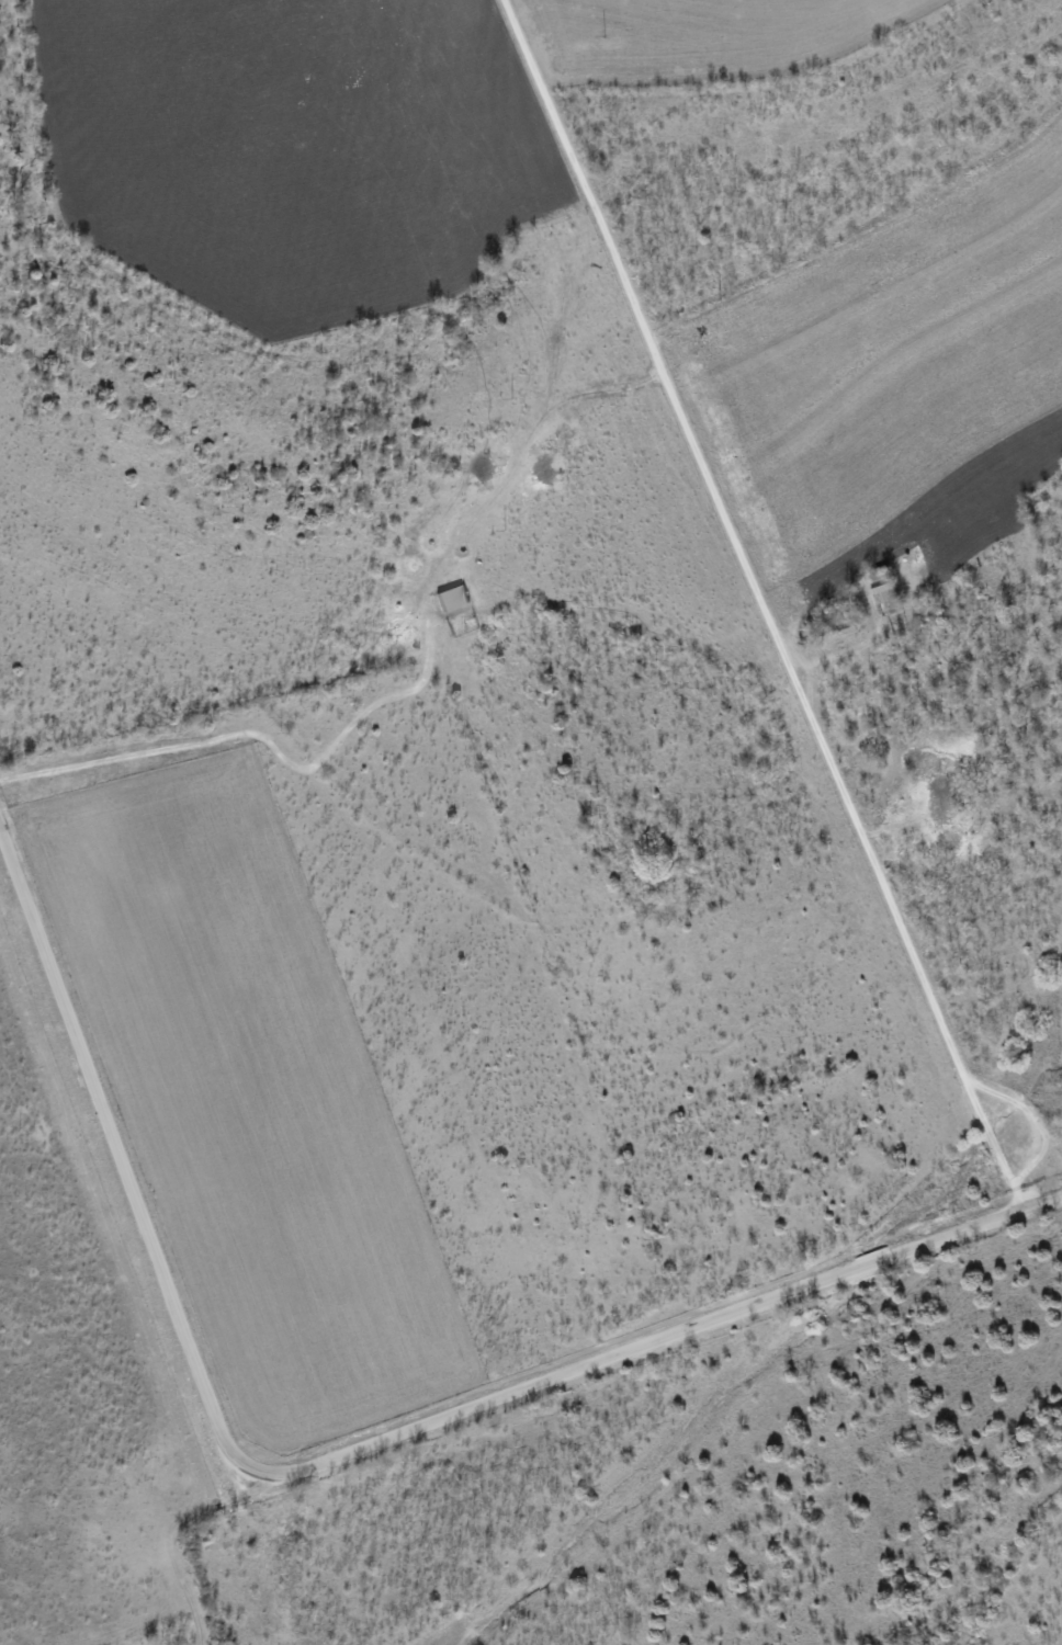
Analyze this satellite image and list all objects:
building: (455, 597)
road: (759, 606)
road: (337, 1463)

